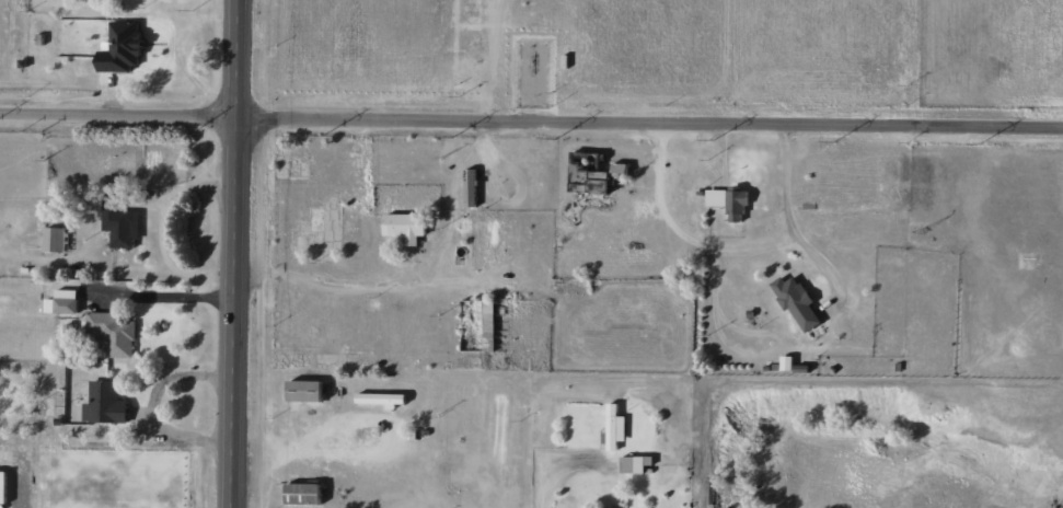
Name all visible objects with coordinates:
building: (119, 48)
road: (122, 123)
road: (652, 129)
building: (586, 173)
building: (469, 187)
building: (728, 201)
building: (118, 222)
building: (404, 226)
building: (53, 239)
road: (242, 254)
road: (728, 255)
road: (825, 272)
road: (172, 297)
building: (61, 301)
building: (796, 302)
road: (392, 328)
building: (112, 333)
building: (786, 362)
building: (303, 391)
building: (381, 399)
road: (151, 402)
building: (103, 403)
building: (614, 427)
building: (634, 463)
building: (2, 487)
building: (302, 494)
building: (613, 507)

